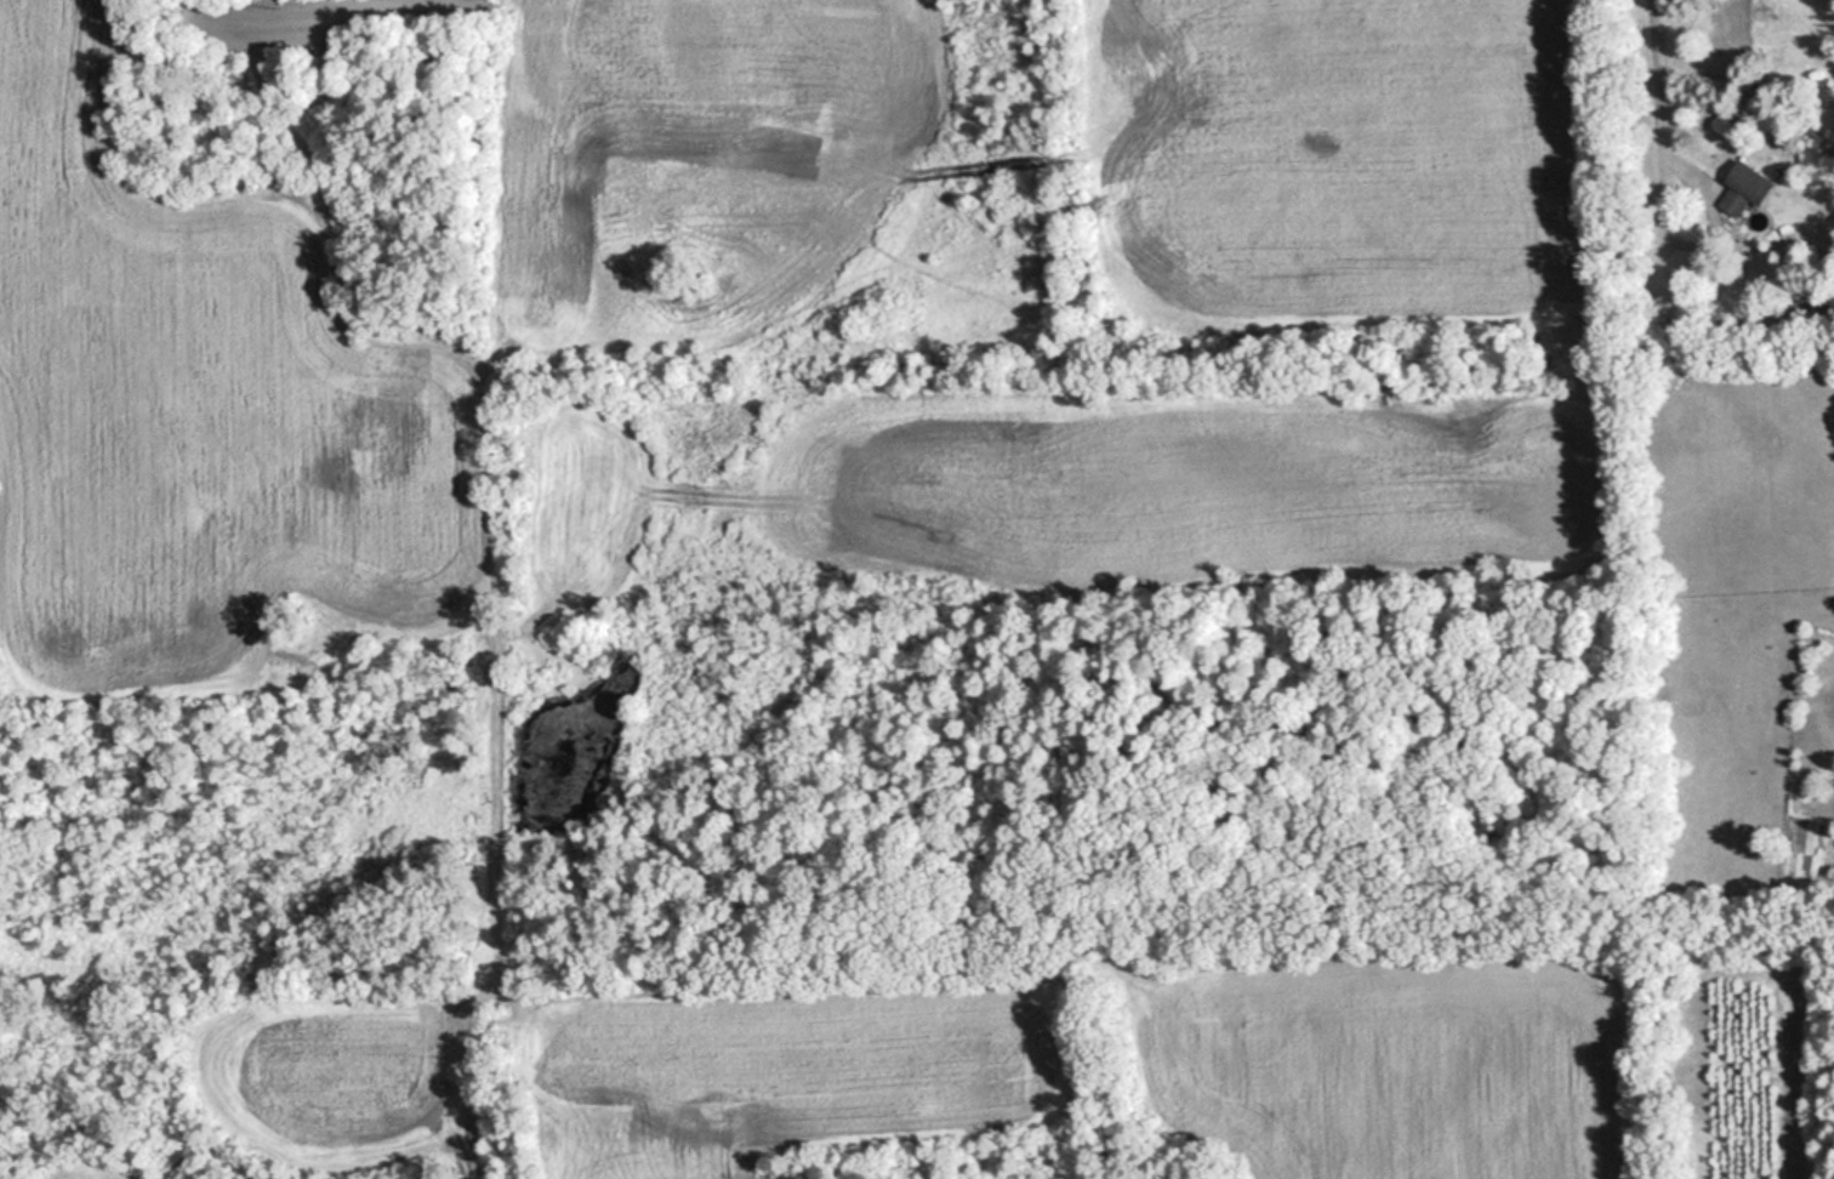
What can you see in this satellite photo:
road: (1658, 116)
building: (1739, 186)
building: (1805, 309)

